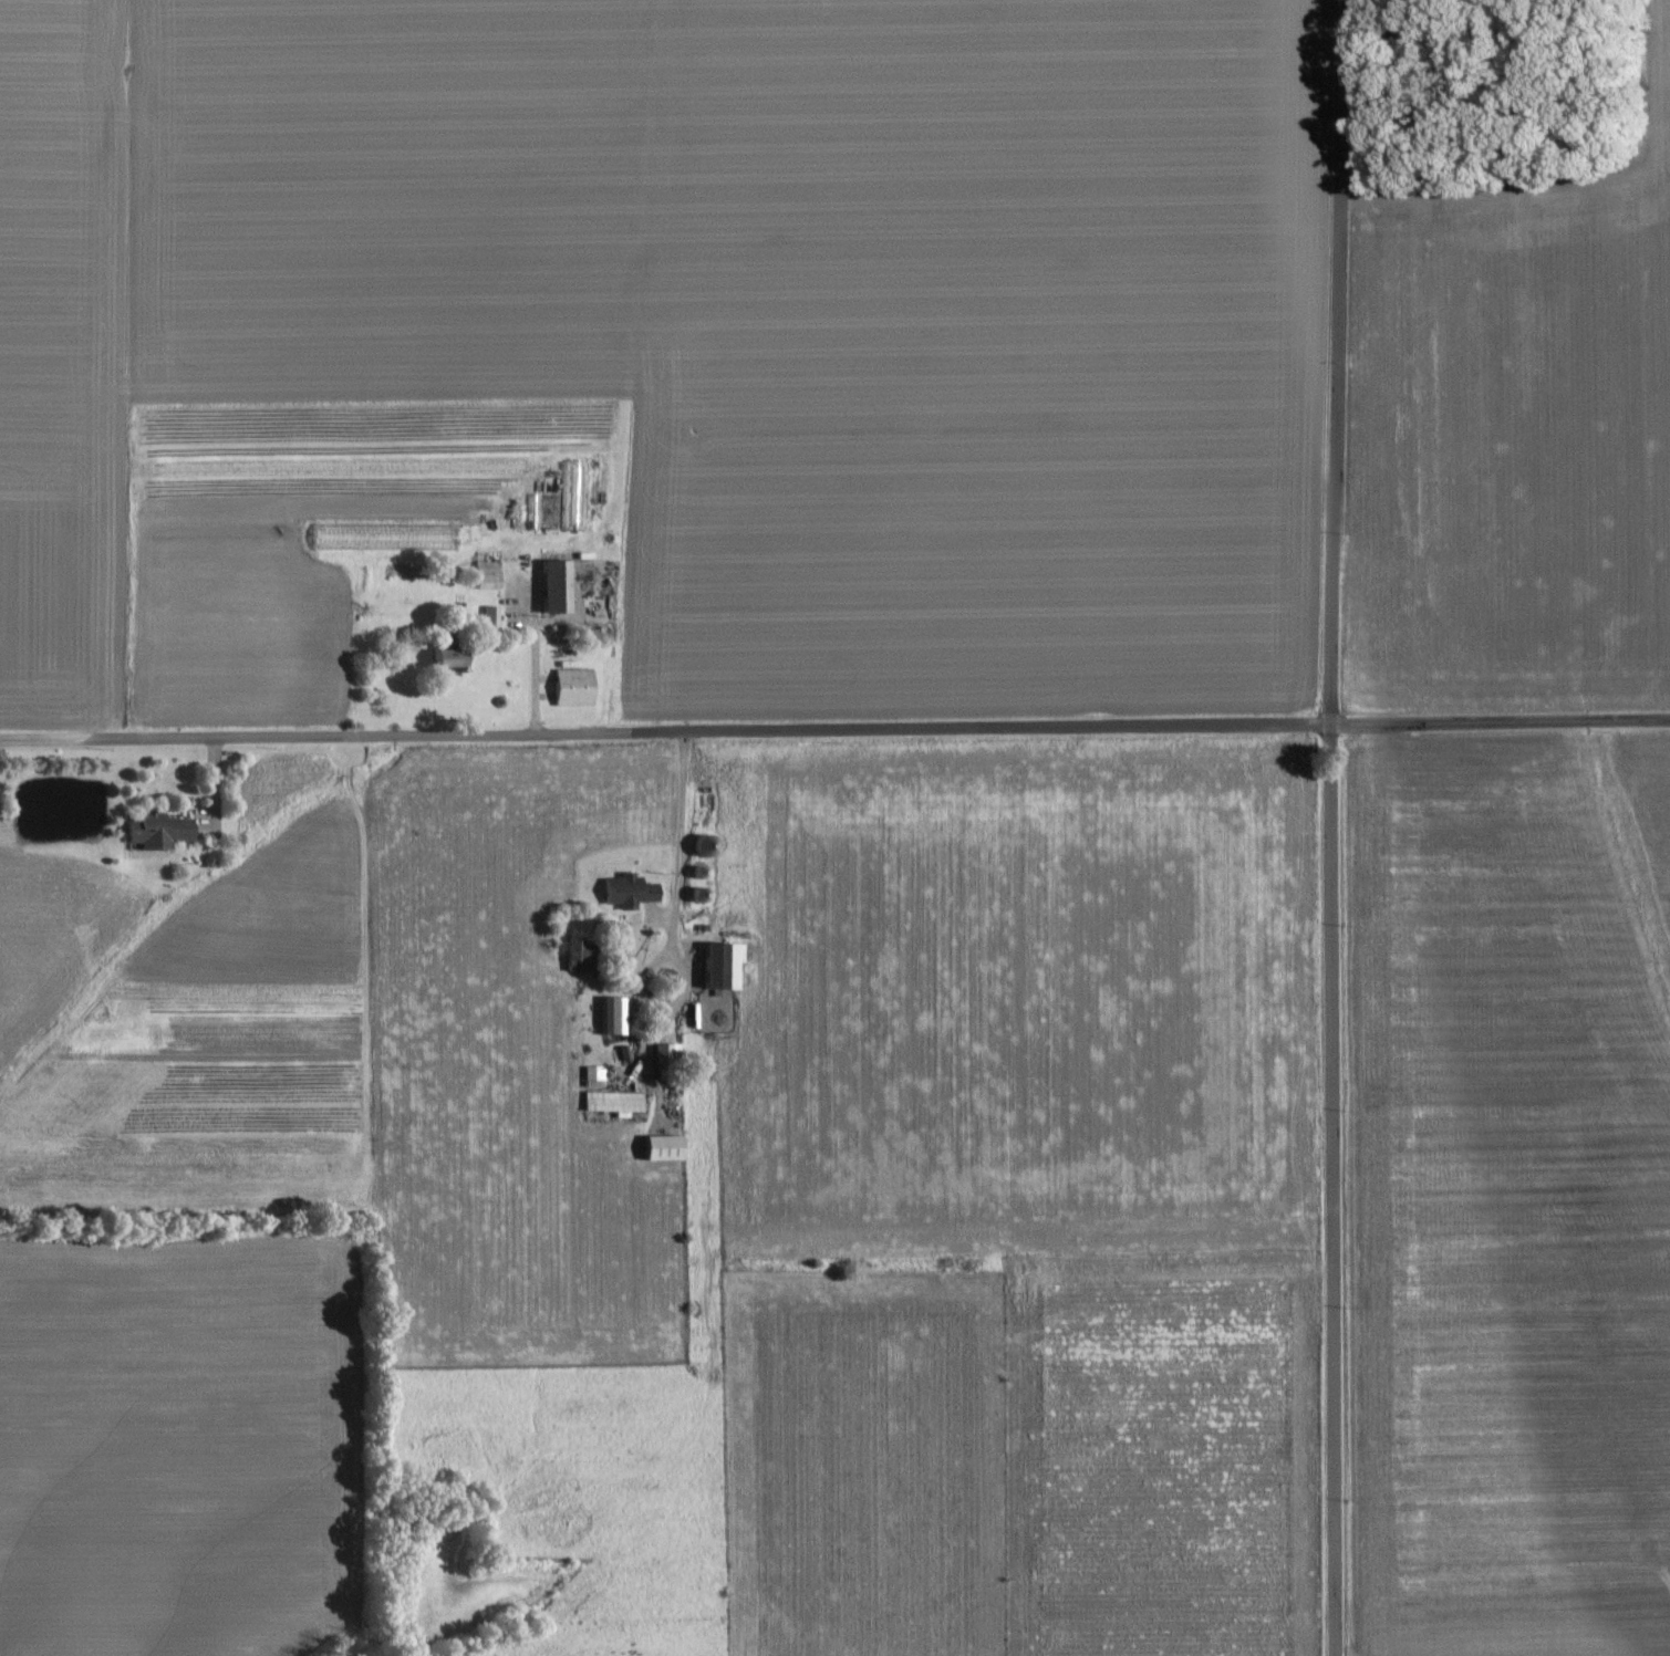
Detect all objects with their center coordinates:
building: (569, 497)
building: (481, 577)
building: (549, 589)
building: (486, 619)
road: (535, 649)
building: (442, 662)
building: (569, 689)
road: (834, 729)
road: (1329, 827)
building: (153, 834)
building: (699, 848)
building: (623, 894)
building: (572, 958)
building: (716, 968)
building: (609, 1019)
building: (661, 1056)
building: (590, 1075)
building: (609, 1104)
building: (656, 1150)

